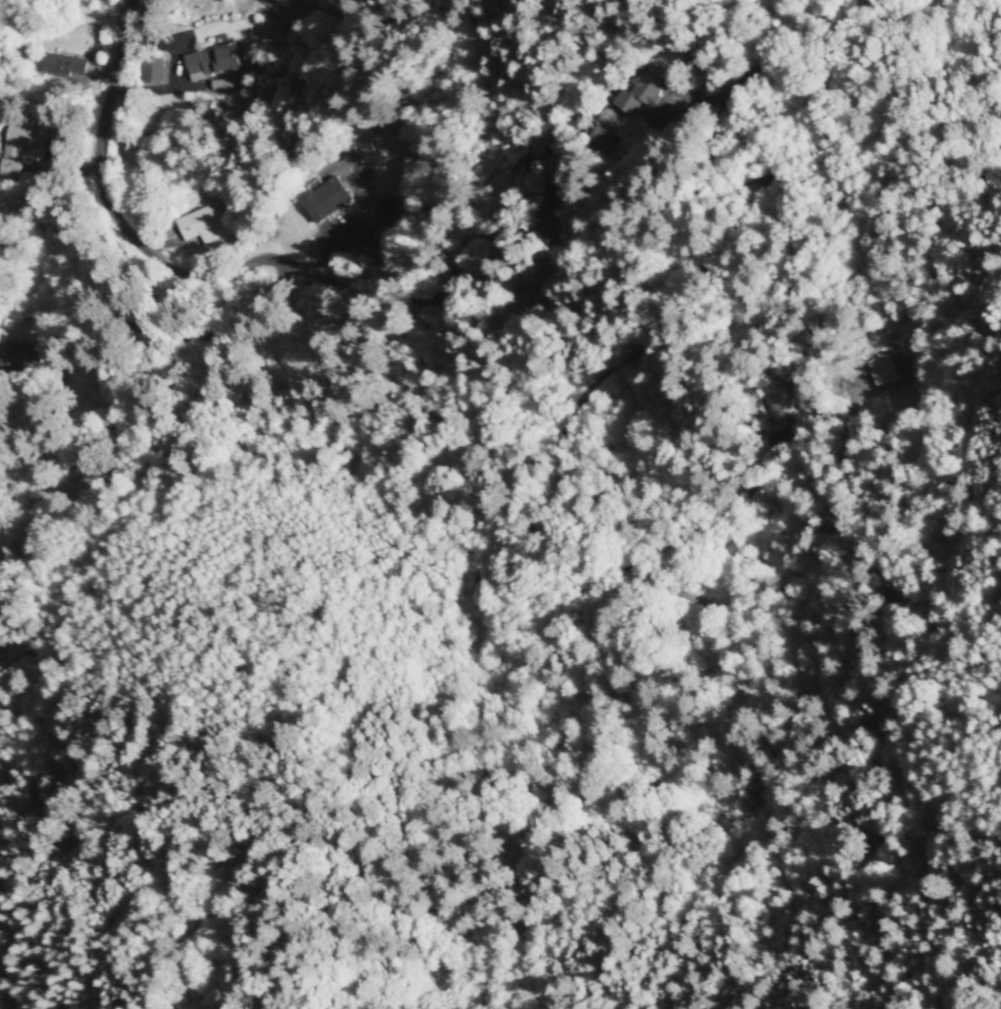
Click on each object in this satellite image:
road: (965, 58)
road: (119, 64)
building: (211, 66)
building: (64, 71)
building: (155, 75)
building: (641, 89)
building: (599, 137)
building: (20, 156)
building: (538, 183)
building: (323, 205)
building: (380, 213)
building: (201, 231)

